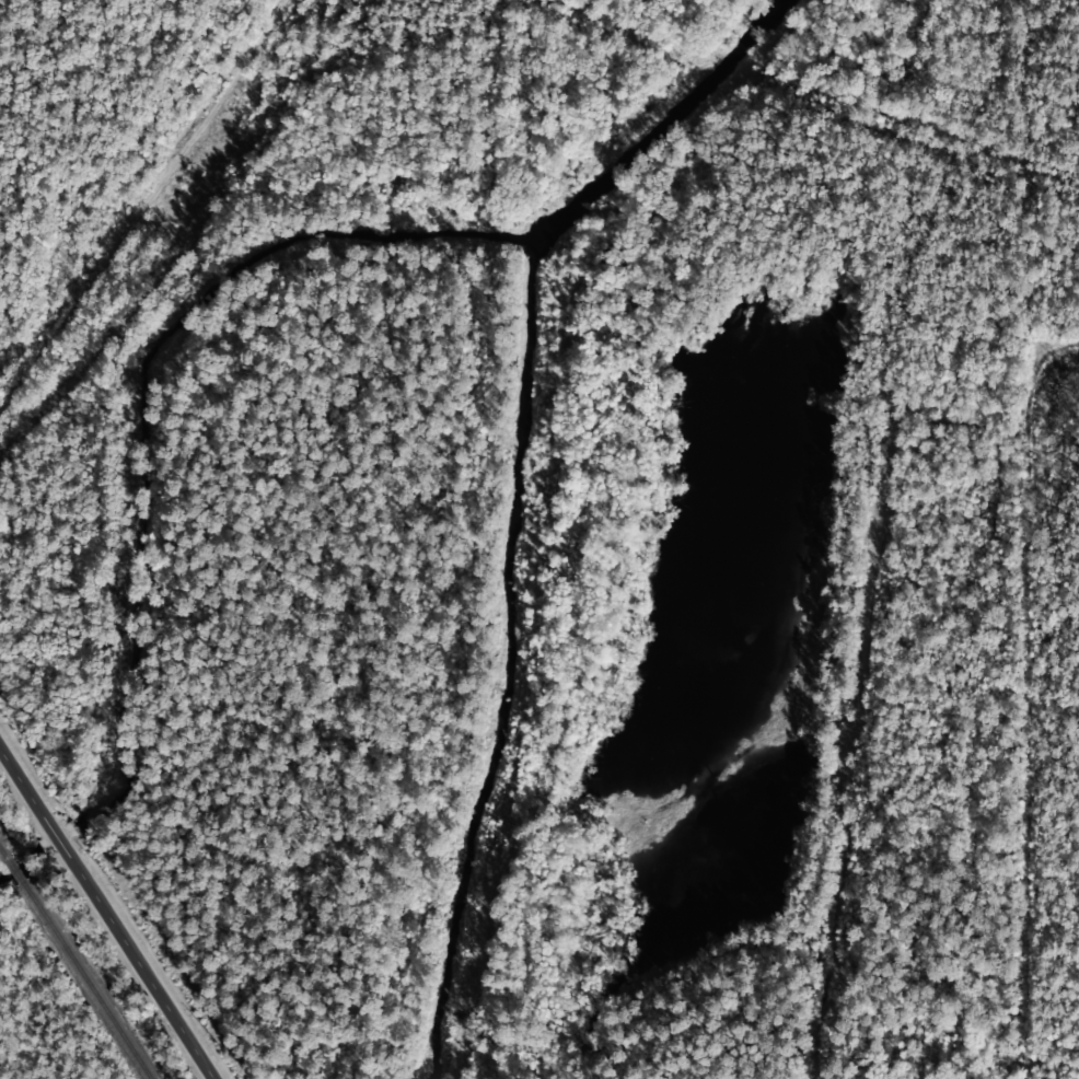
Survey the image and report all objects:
road: (19, 775)
road: (59, 839)
railway: (0, 848)
railway: (14, 869)
road: (146, 976)
railway: (89, 984)

